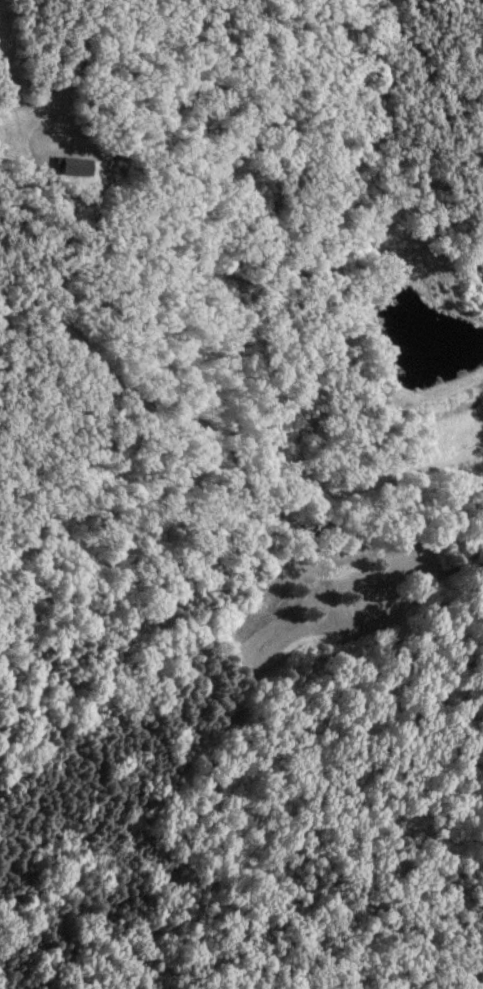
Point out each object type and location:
road: (73, 74)
building: (73, 167)

